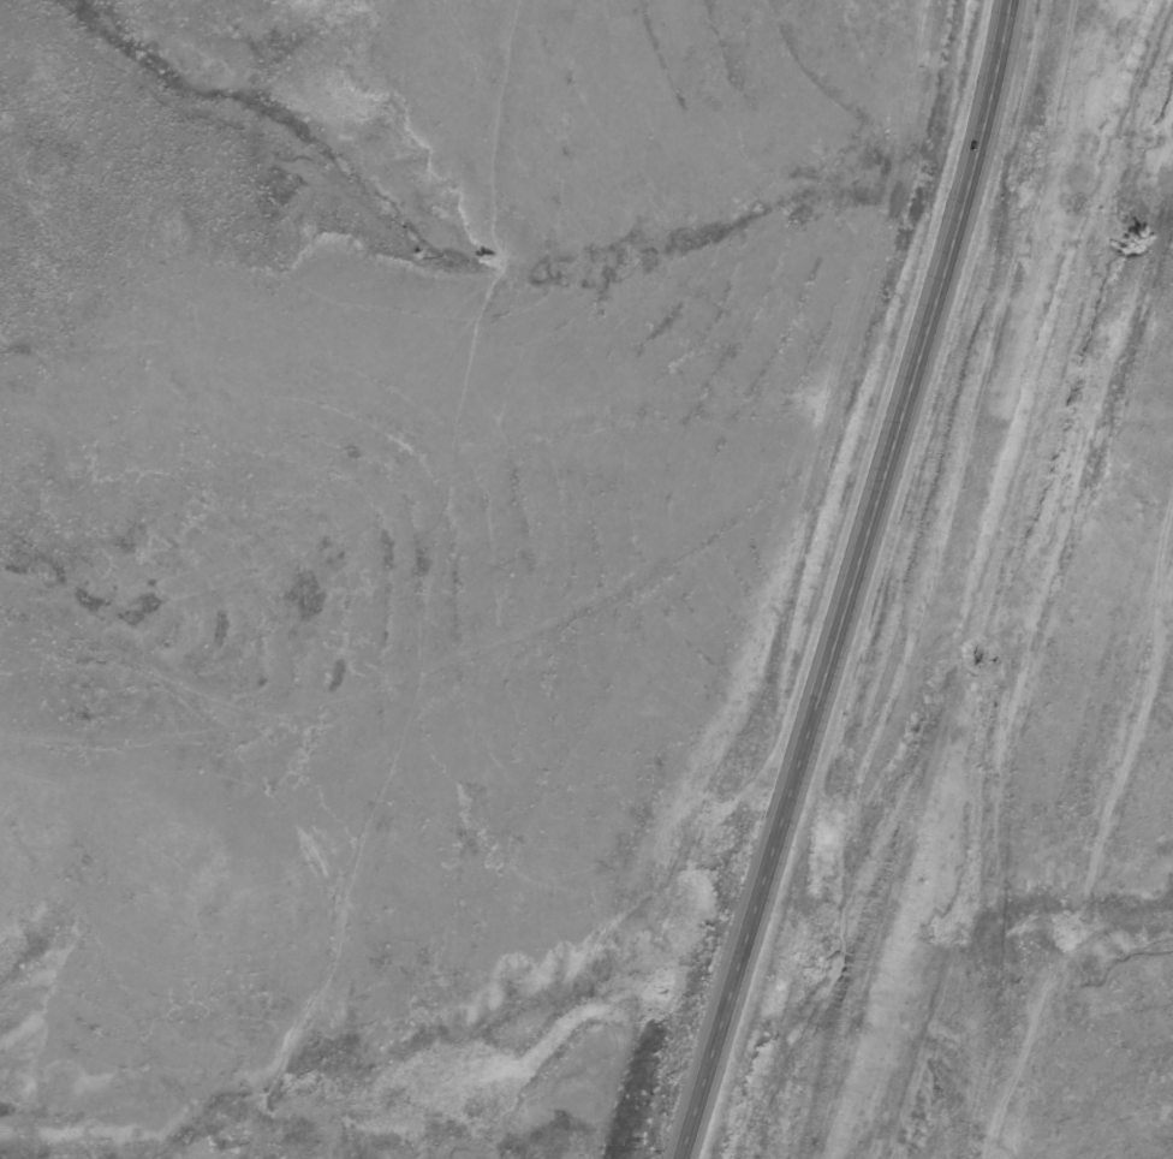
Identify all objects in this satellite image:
road: (853, 582)

